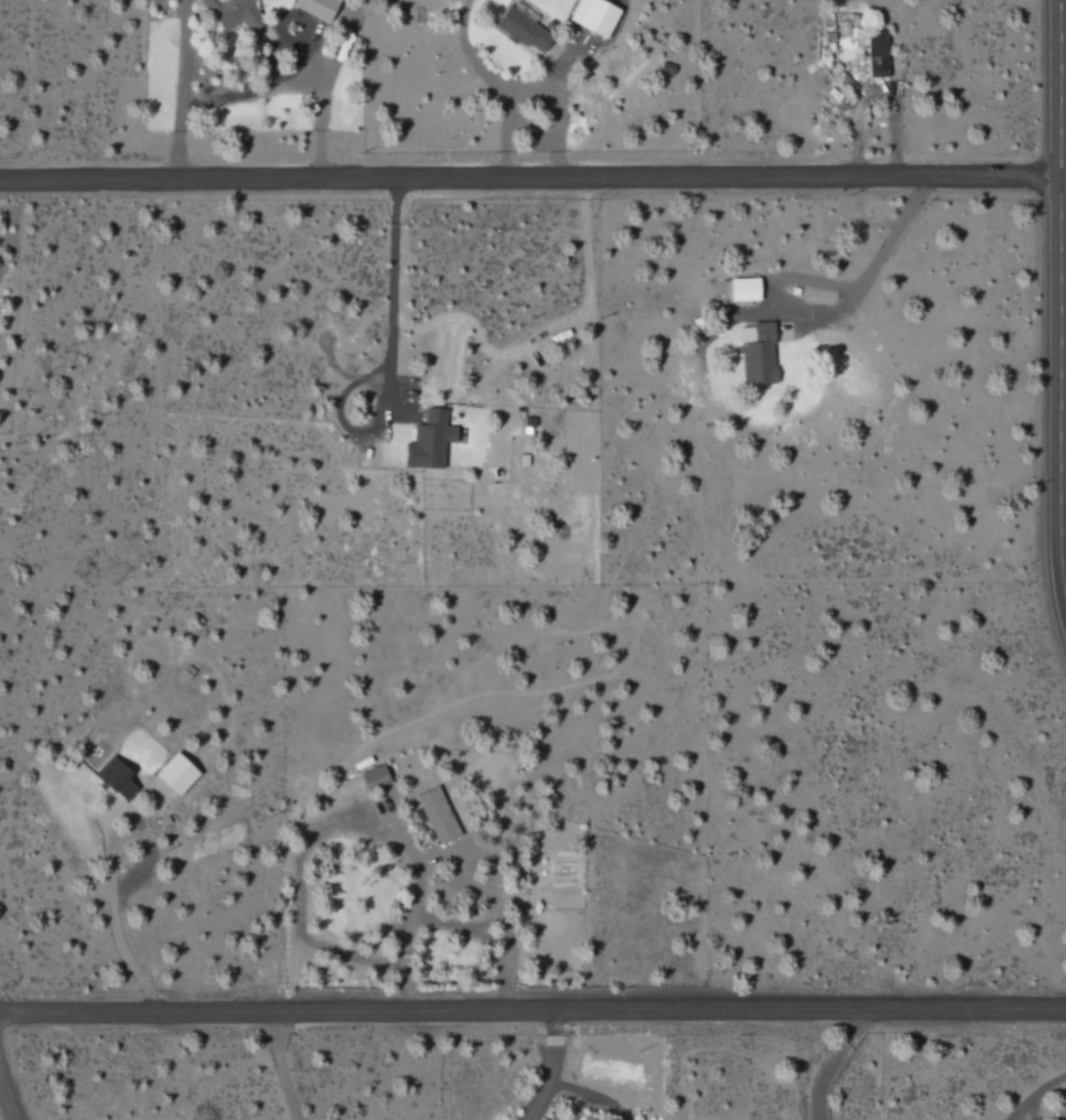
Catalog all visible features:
building: (317, 8)
building: (234, 14)
building: (594, 17)
building: (857, 22)
building: (523, 31)
building: (877, 54)
road: (525, 175)
building: (741, 290)
road: (1049, 313)
building: (757, 354)
building: (429, 441)
building: (175, 774)
building: (373, 778)
building: (116, 779)
building: (438, 816)
road: (532, 1011)
road: (10, 1087)

